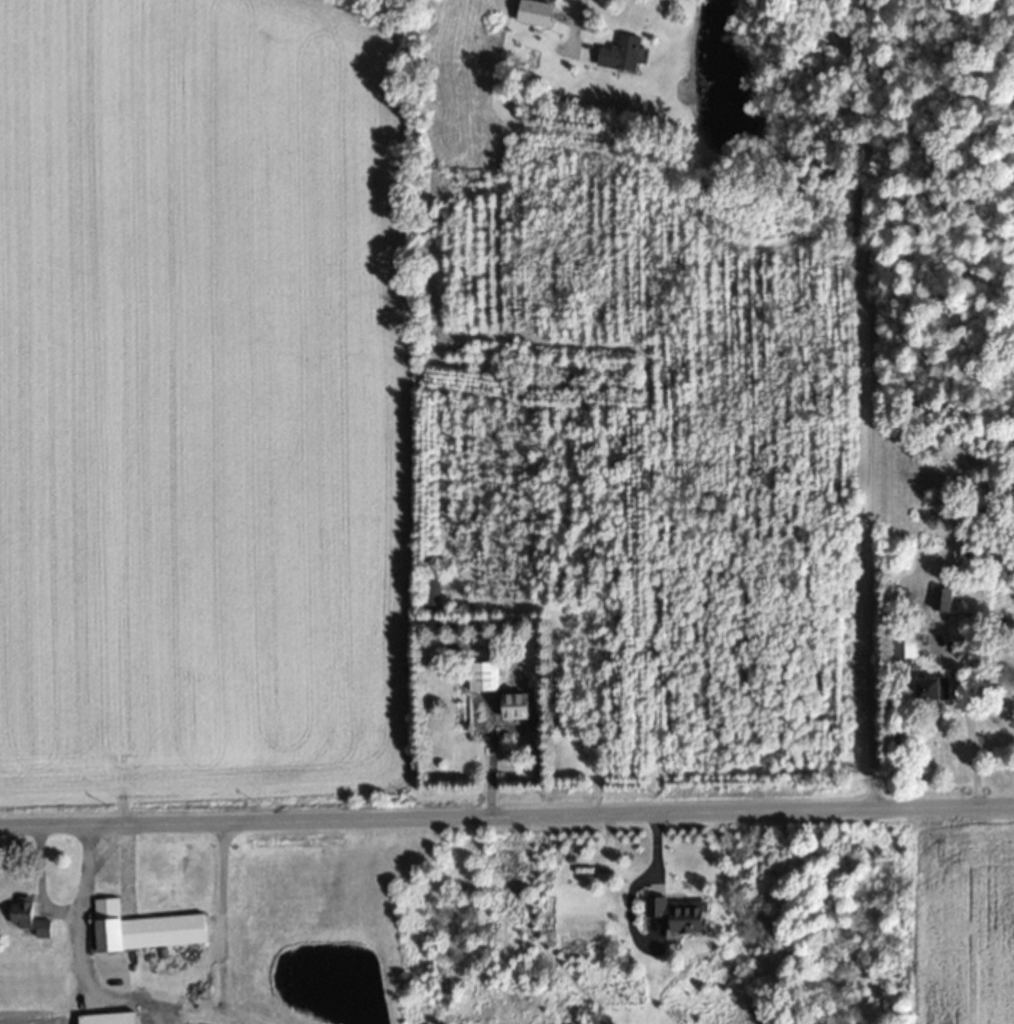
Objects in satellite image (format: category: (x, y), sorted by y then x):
road: (572, 22)
building: (622, 53)
road: (866, 371)
building: (429, 590)
building: (940, 600)
building: (482, 676)
building: (932, 689)
building: (513, 705)
road: (966, 726)
road: (507, 806)
road: (64, 909)
building: (684, 915)
building: (28, 919)
building: (145, 929)
building: (109, 1019)

